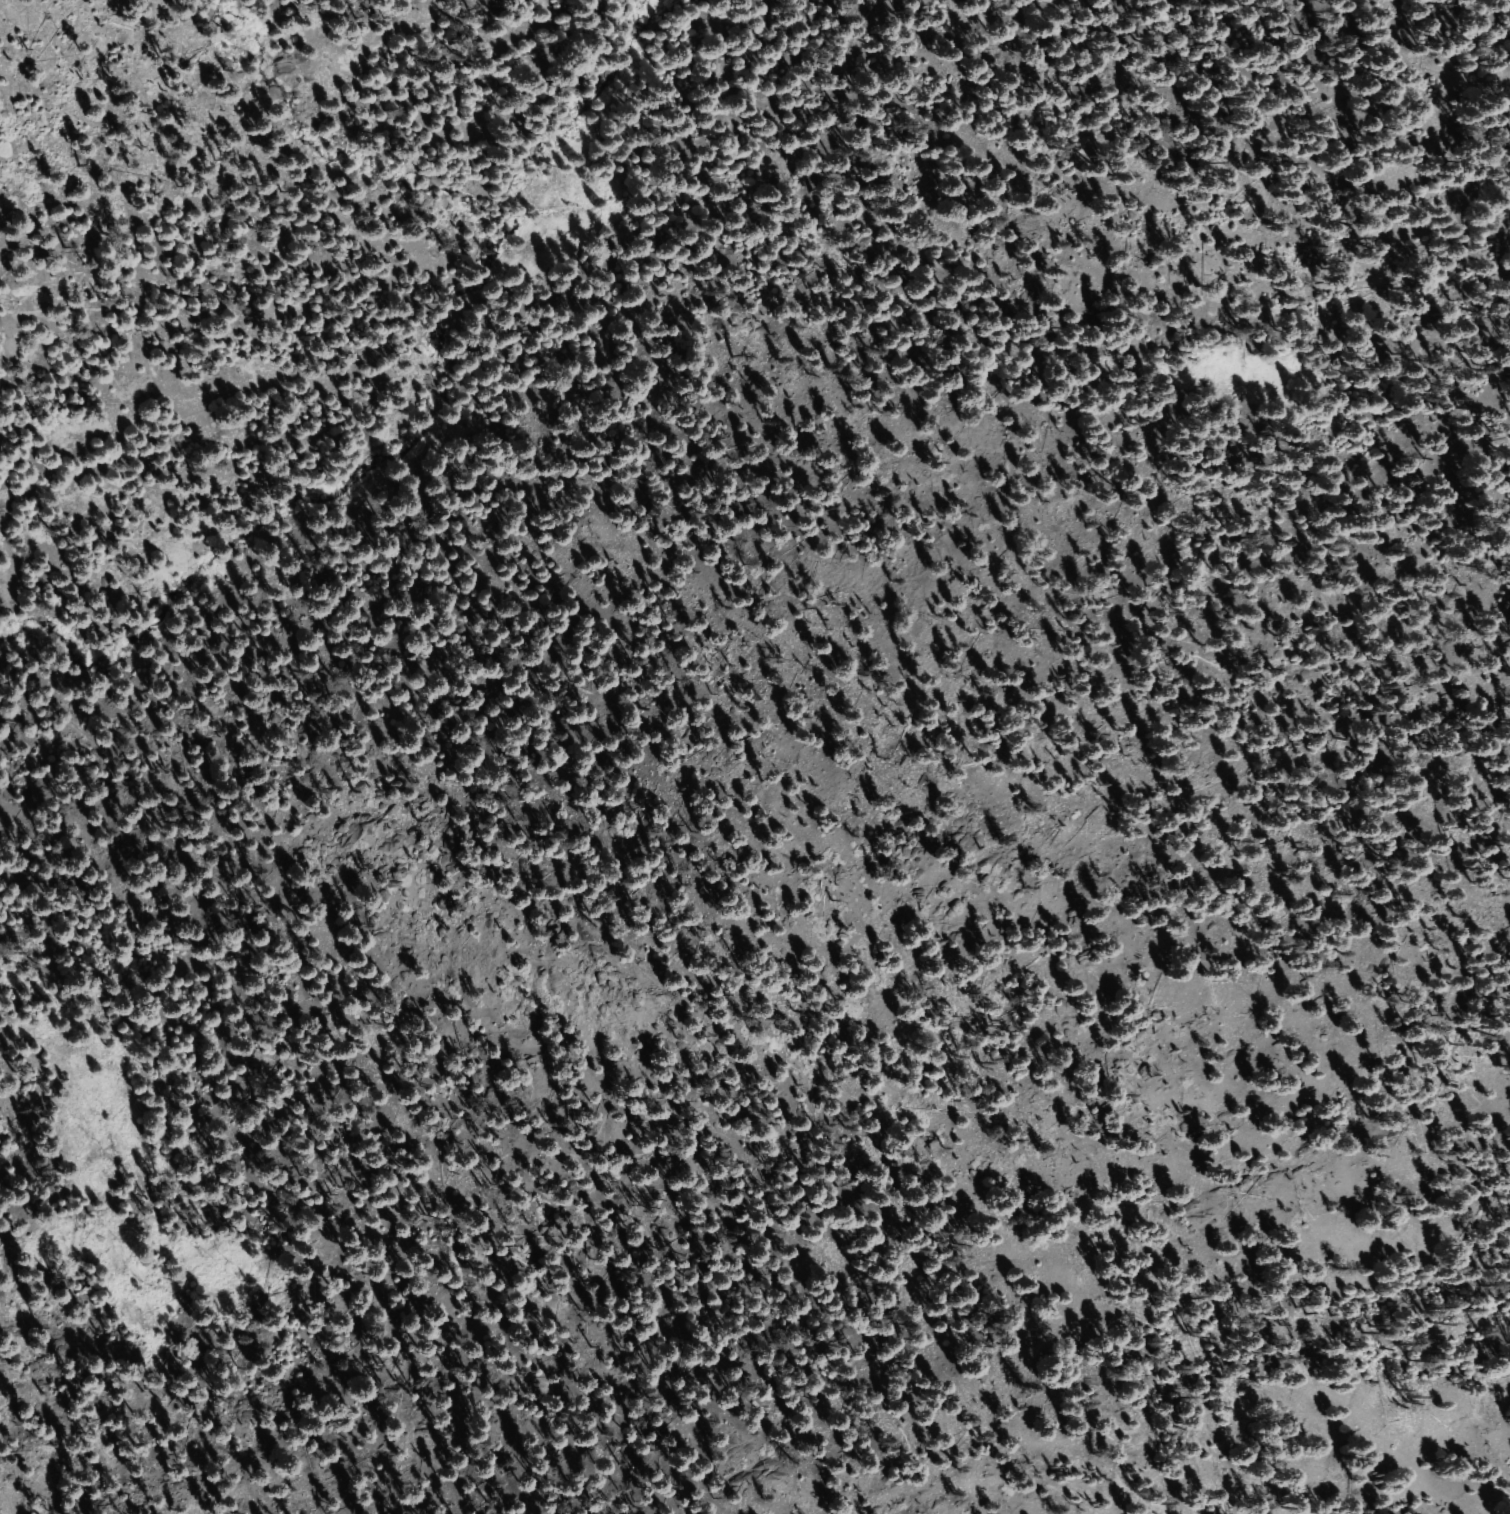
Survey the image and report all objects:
road: (1434, 160)

